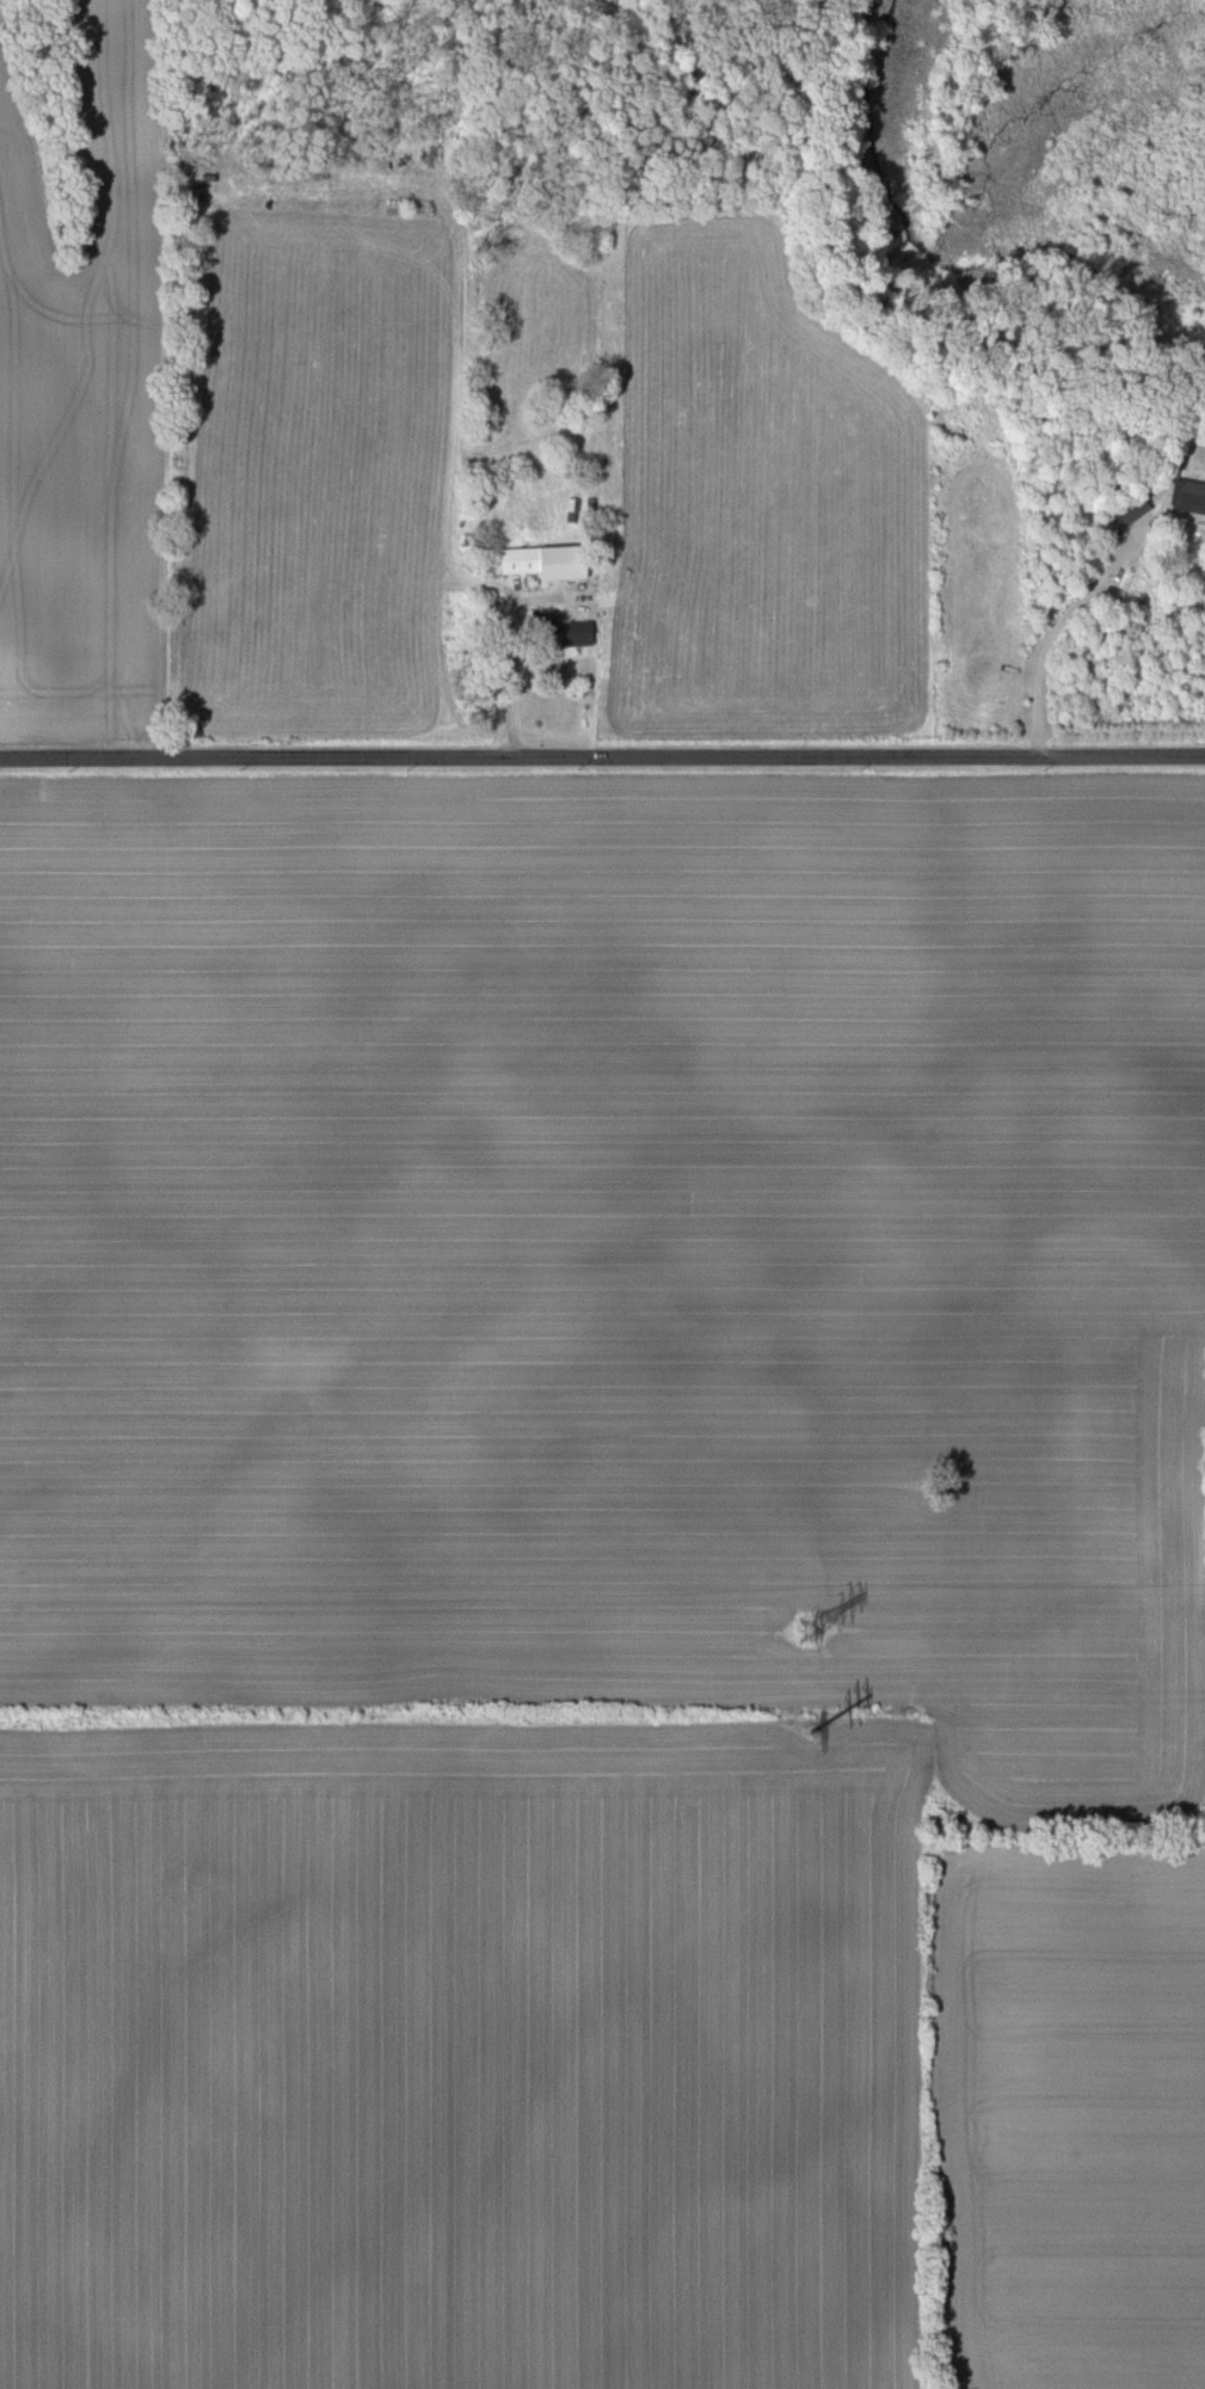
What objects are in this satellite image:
building: (1191, 493)
building: (1124, 508)
building: (540, 563)
building: (555, 628)
road: (1059, 631)
road: (602, 756)
power tower: (805, 1632)
power tower: (806, 1725)

